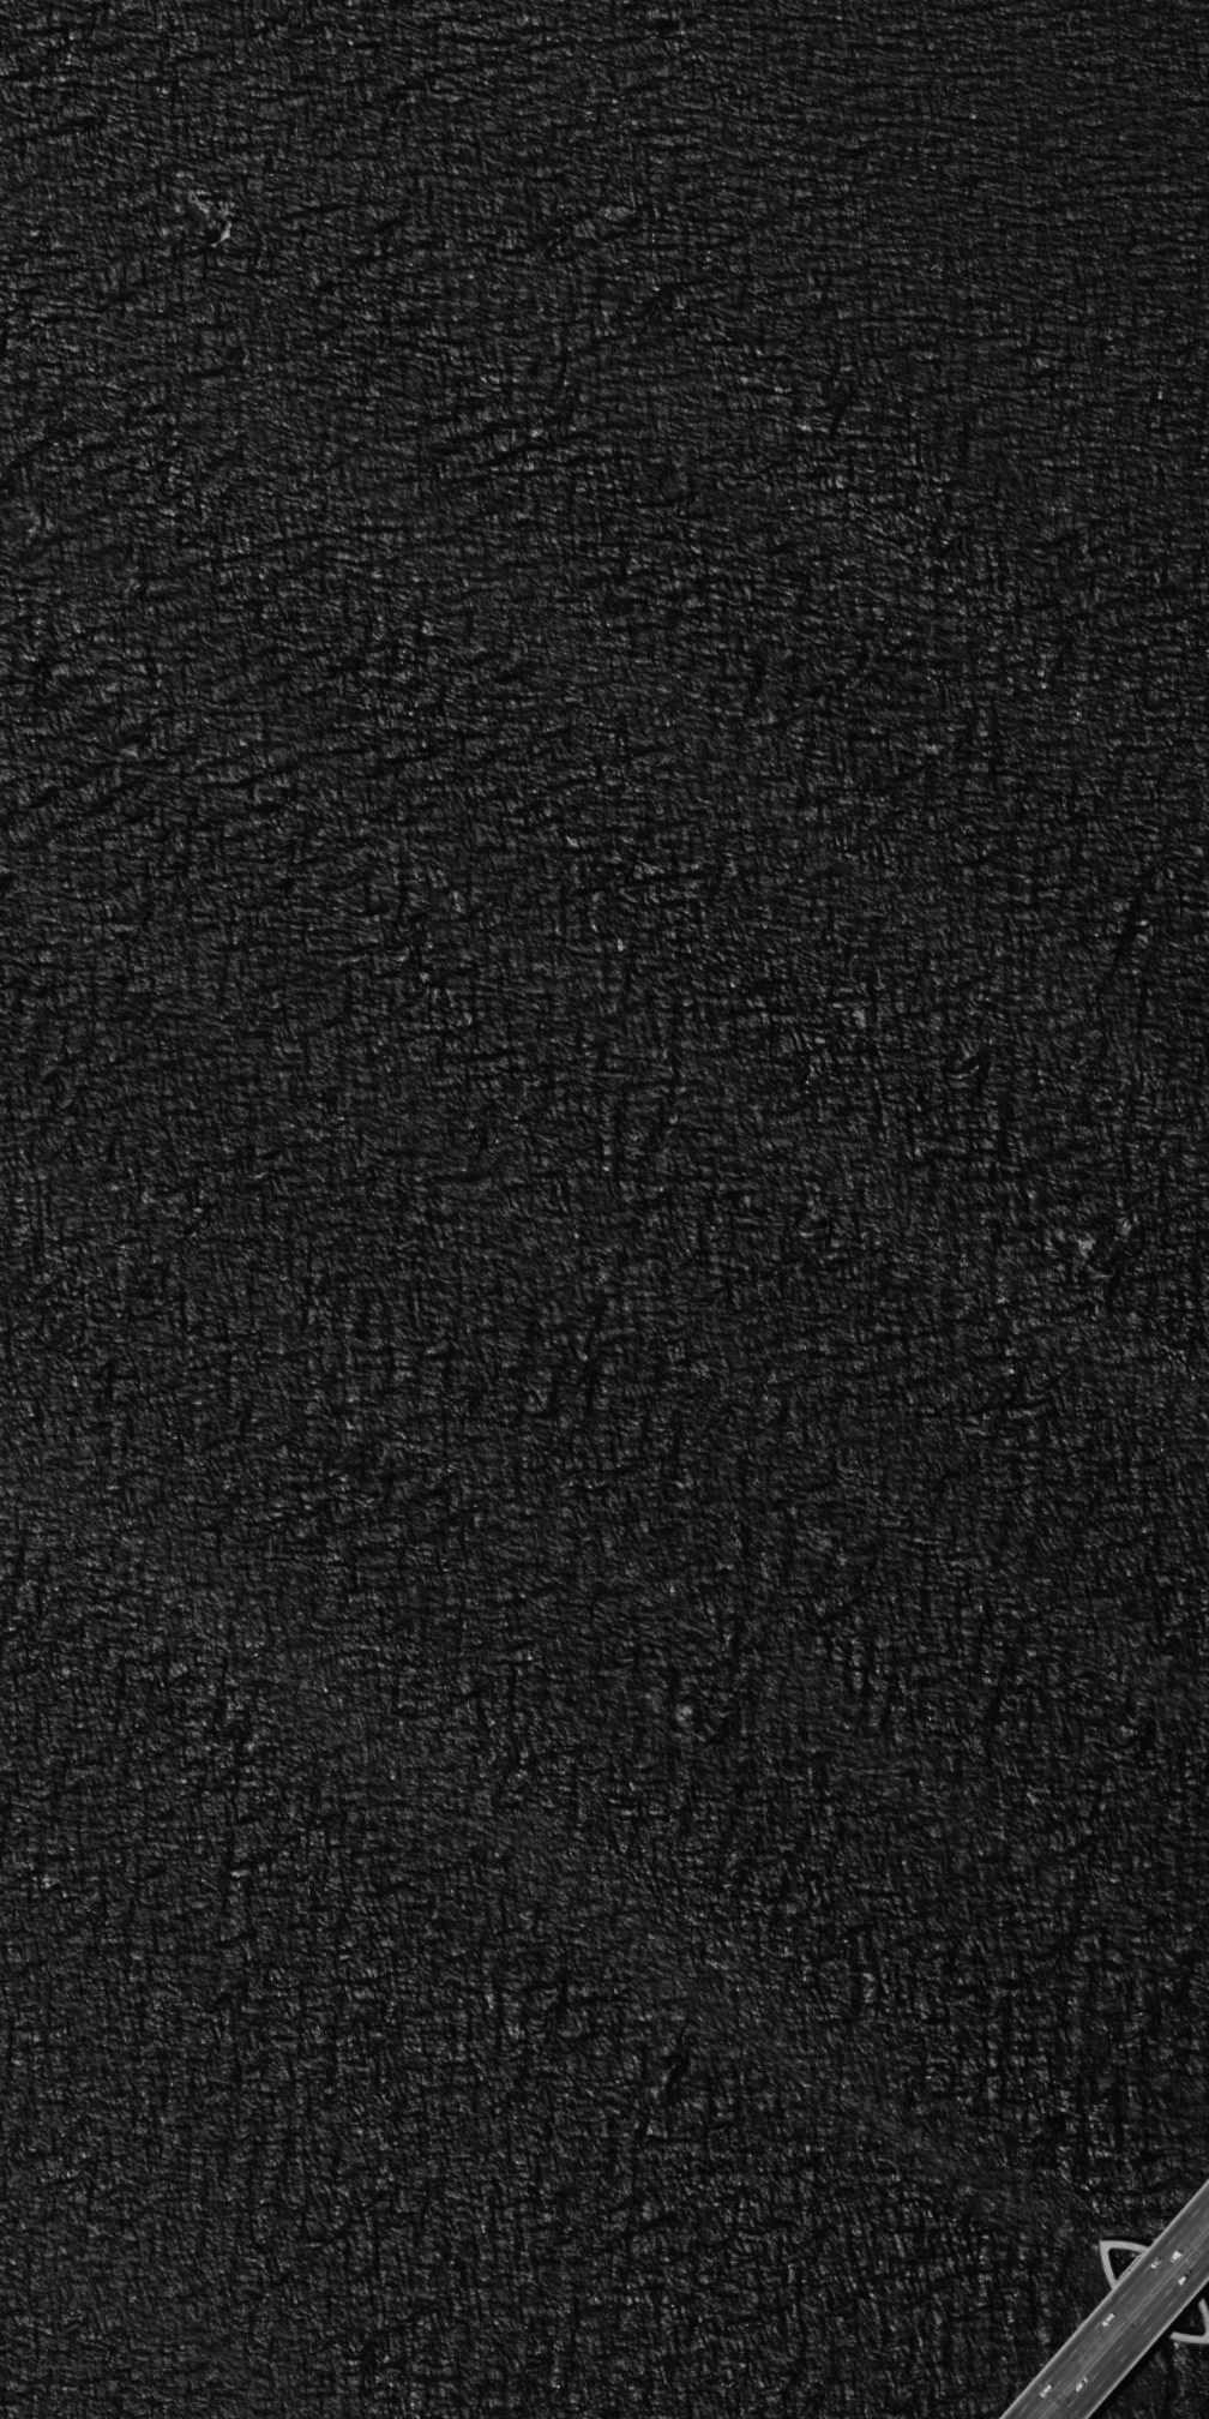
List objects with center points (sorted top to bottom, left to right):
road: (1114, 2310)
road: (1136, 2334)

